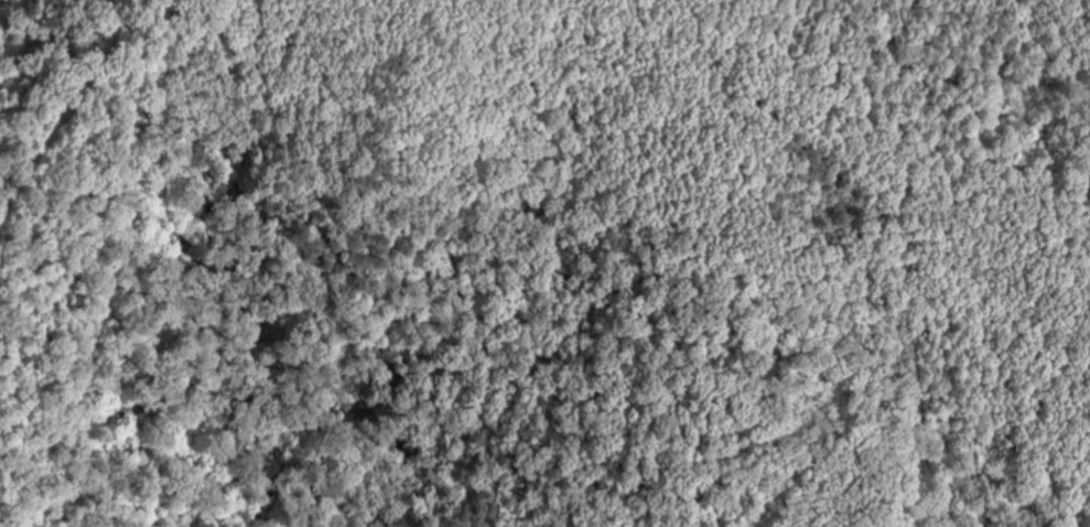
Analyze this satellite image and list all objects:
road: (42, 57)

